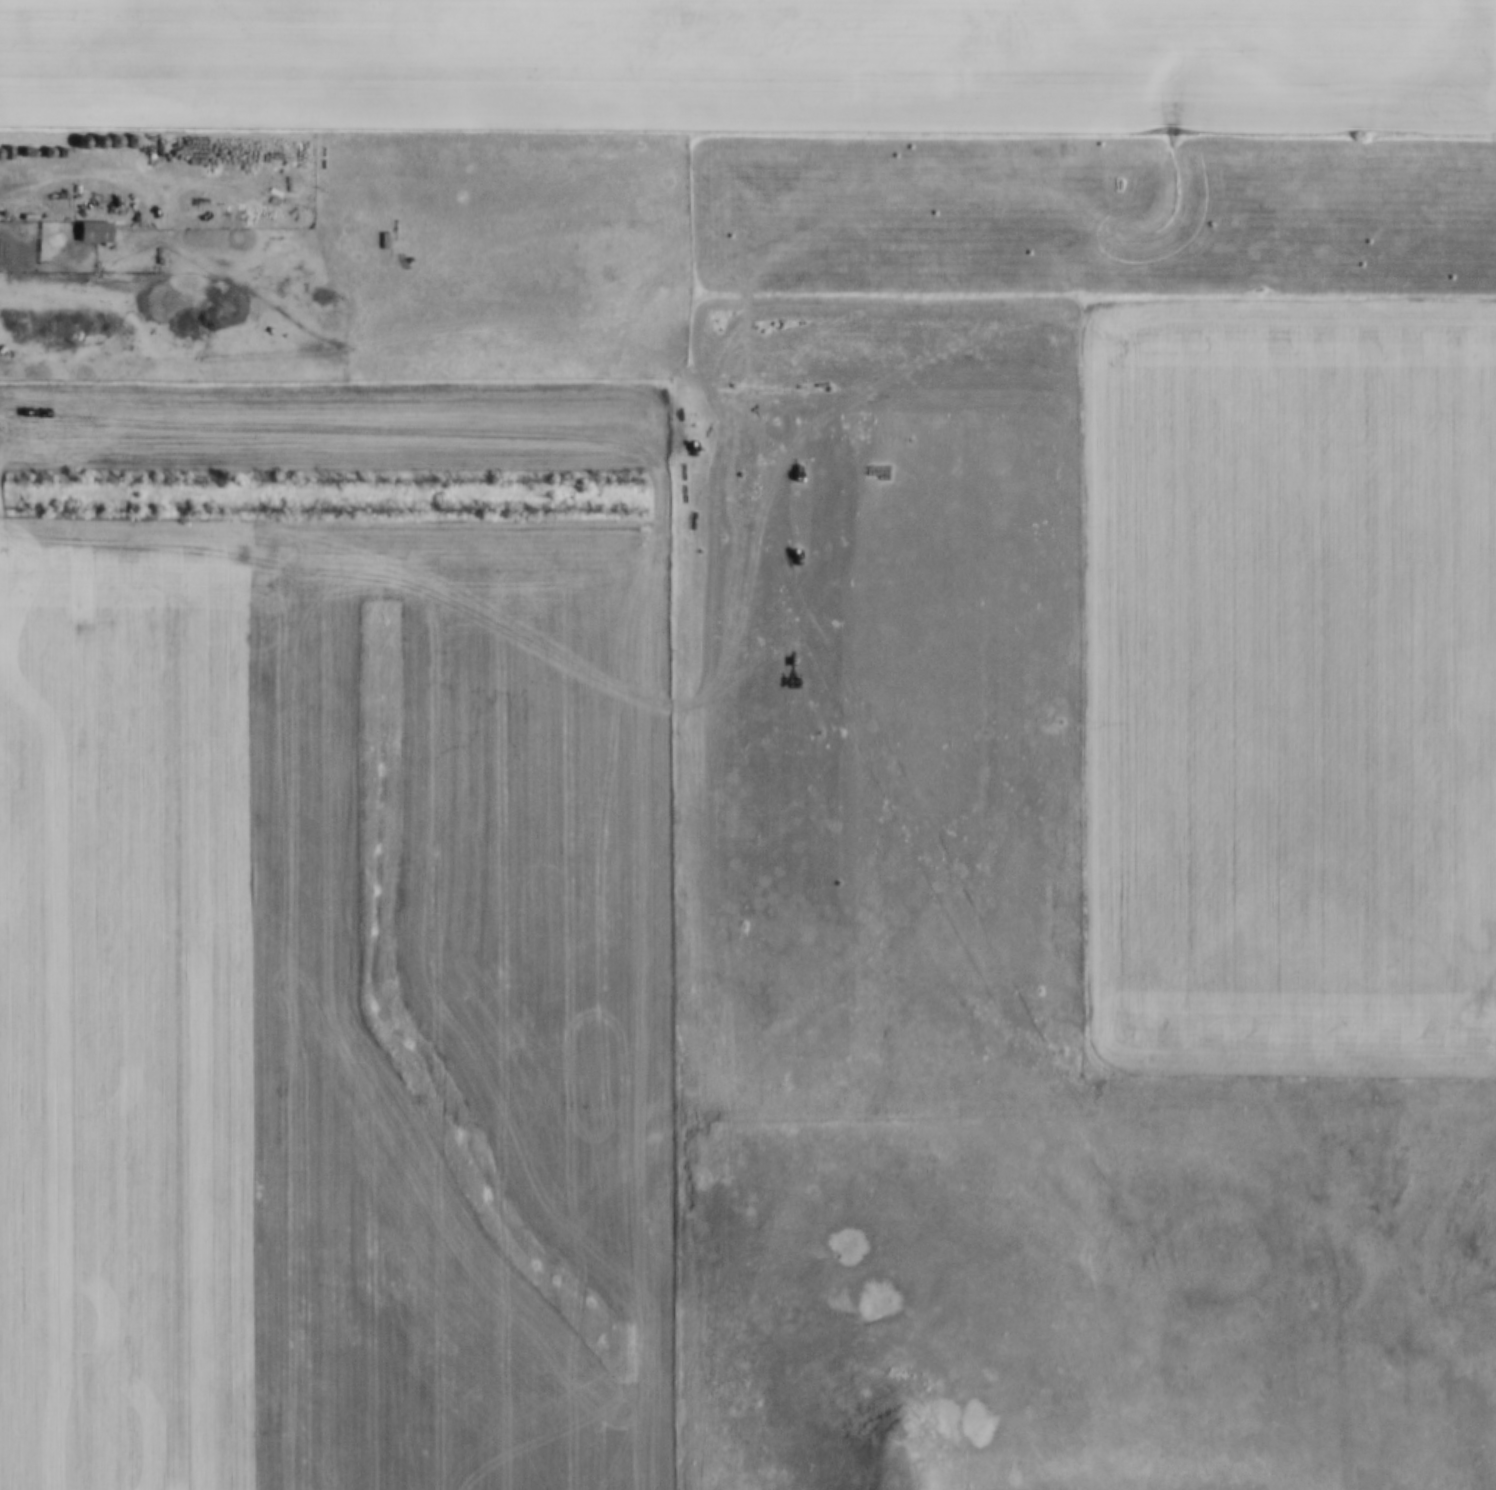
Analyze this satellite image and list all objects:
road: (69, 171)
building: (99, 233)
building: (389, 241)

